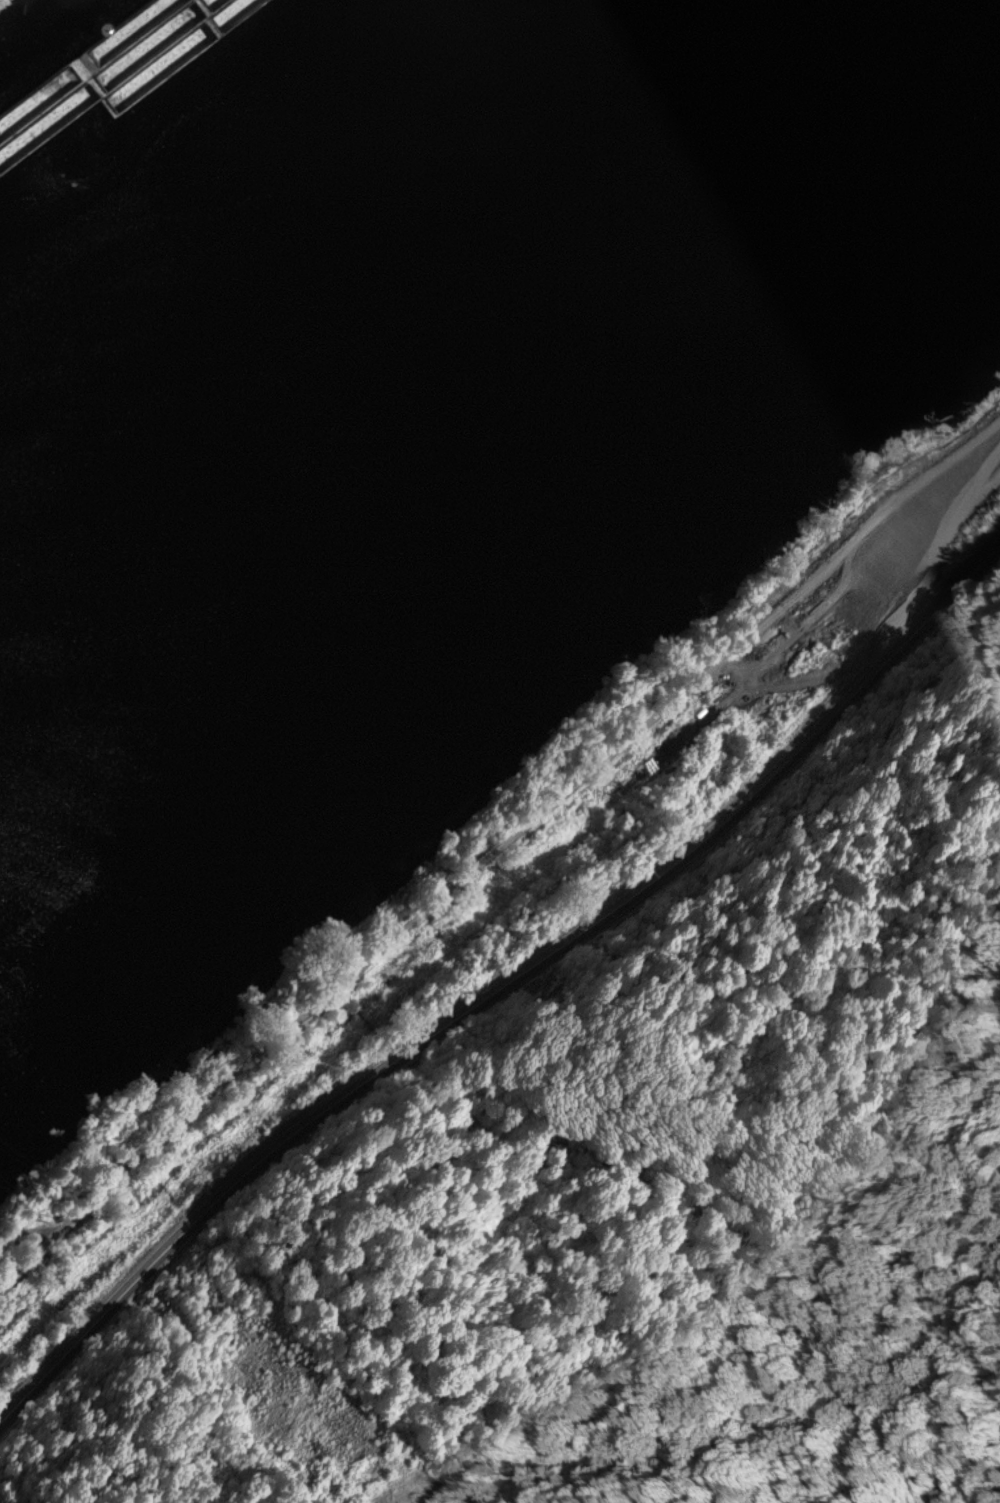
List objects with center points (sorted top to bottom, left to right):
power plant: (16, 11)
river: (355, 296)
road: (498, 850)
road: (500, 988)

